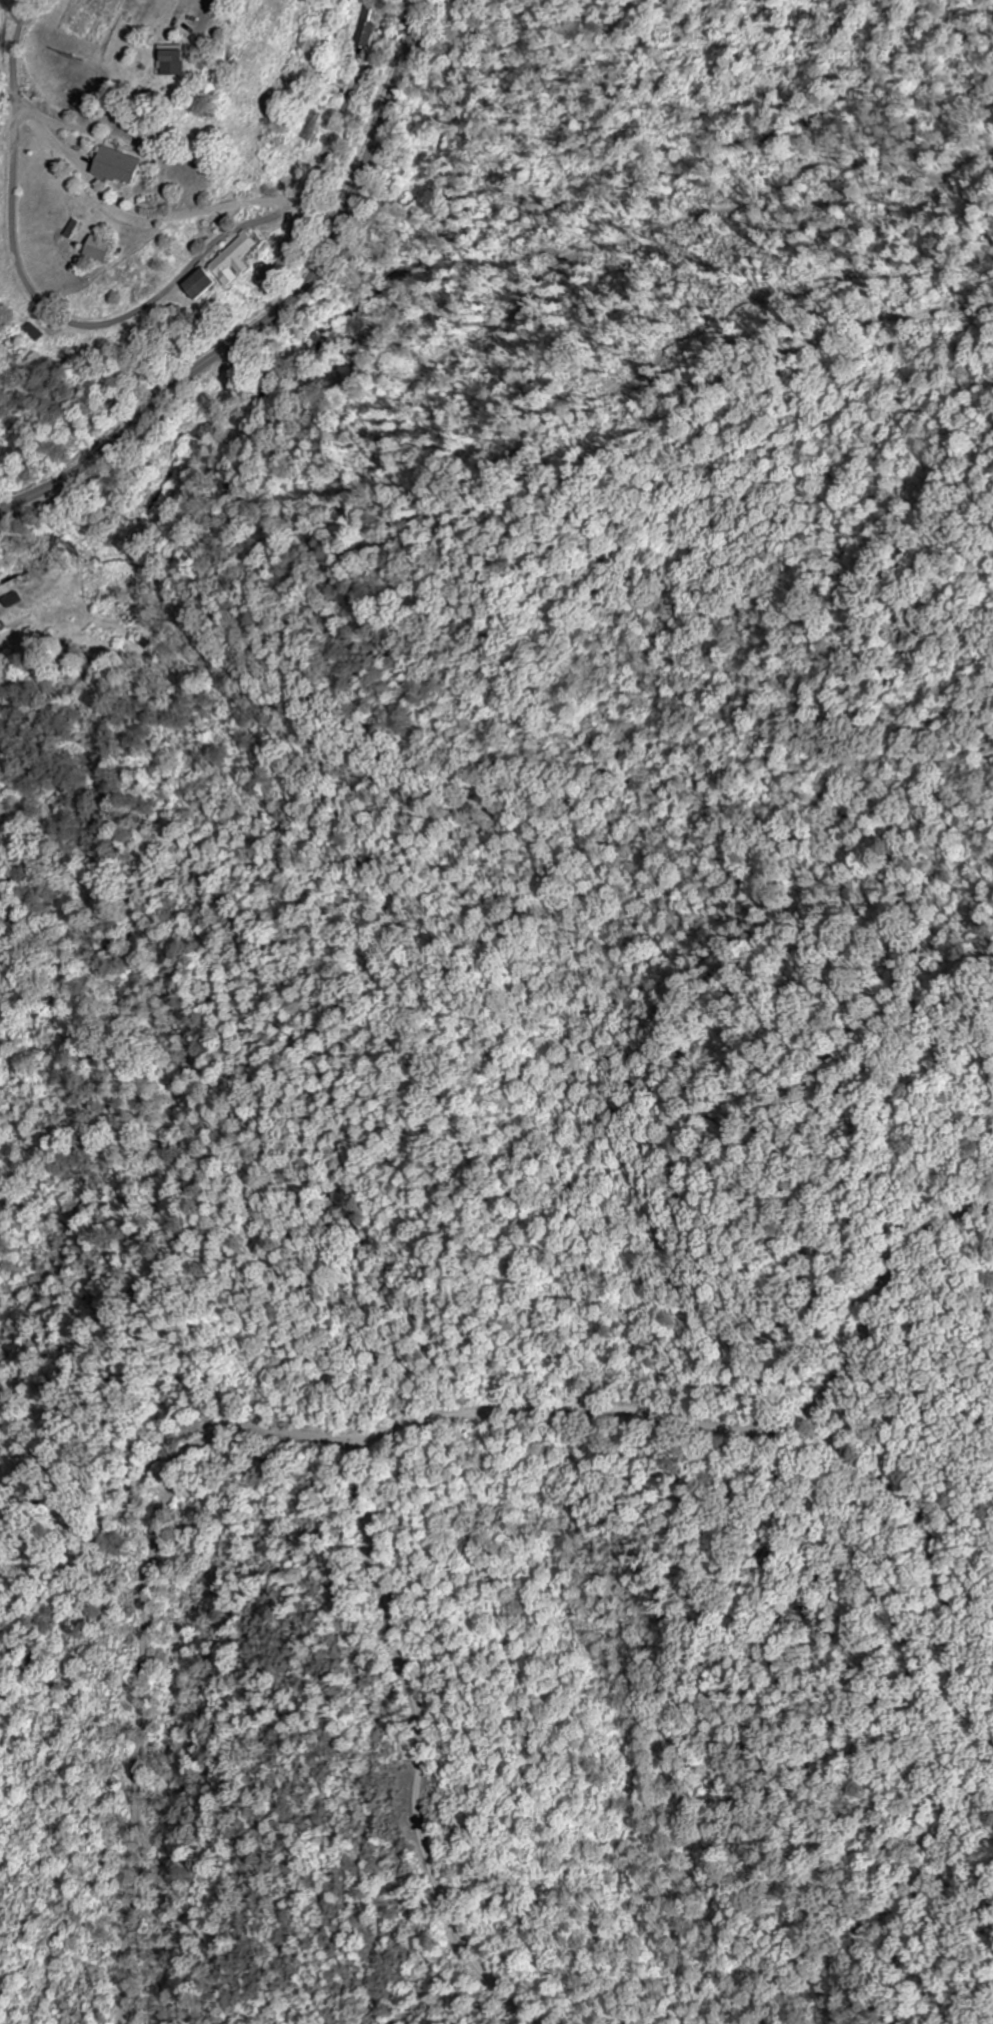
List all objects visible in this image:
building: (361, 31)
building: (176, 62)
building: (123, 166)
building: (104, 249)
building: (226, 269)
road: (44, 305)
road: (280, 312)
road: (534, 1409)
road: (383, 1532)
road: (130, 1840)
road: (418, 1843)

